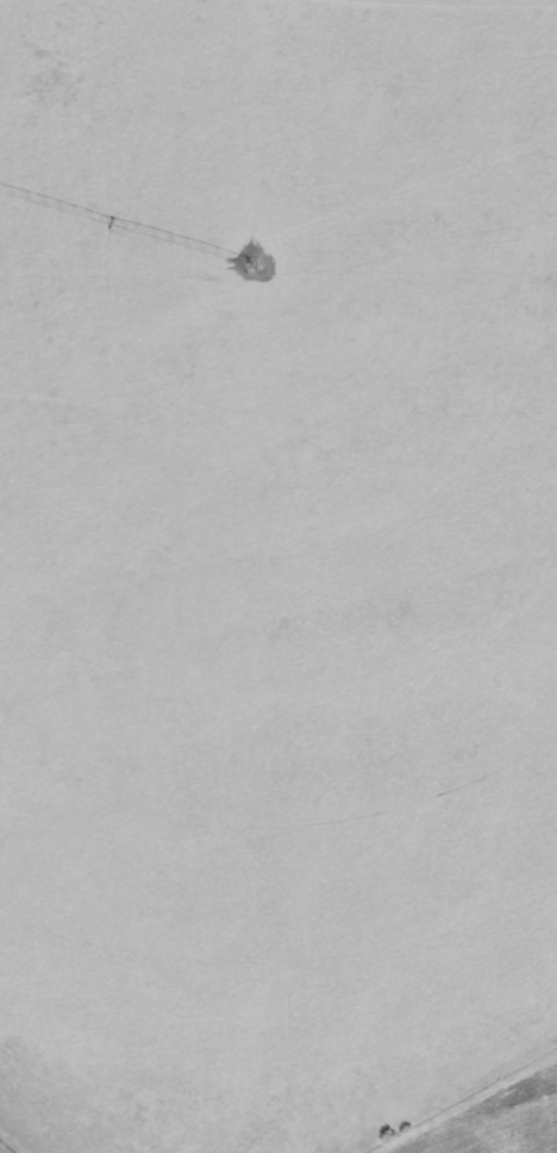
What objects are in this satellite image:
road: (508, 1)

